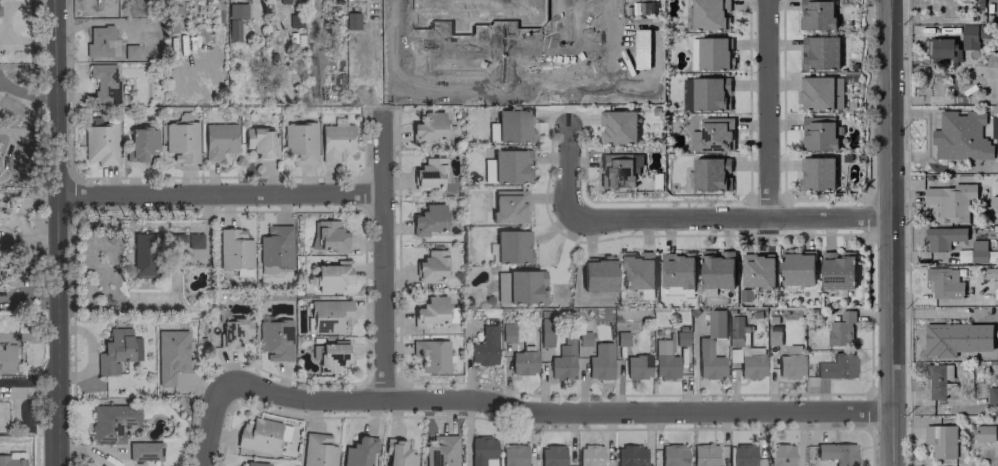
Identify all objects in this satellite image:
building: (285, 0)
building: (478, 4)
building: (431, 12)
building: (709, 14)
building: (816, 14)
building: (234, 19)
building: (351, 20)
building: (969, 36)
building: (100, 42)
building: (579, 42)
building: (942, 48)
building: (819, 52)
building: (517, 53)
building: (710, 53)
building: (103, 82)
building: (705, 93)
building: (820, 93)
road: (954, 100)
road: (767, 109)
building: (509, 126)
building: (617, 126)
building: (427, 128)
building: (818, 133)
building: (712, 135)
building: (960, 136)
building: (218, 140)
building: (180, 141)
building: (299, 141)
building: (334, 141)
building: (259, 142)
building: (99, 143)
building: (139, 143)
building: (510, 166)
road: (565, 169)
building: (618, 169)
building: (486, 170)
building: (428, 173)
building: (816, 173)
building: (711, 174)
road: (220, 196)
building: (951, 200)
building: (508, 206)
building: (427, 219)
road: (729, 219)
road: (56, 232)
road: (892, 233)
building: (329, 236)
building: (942, 237)
building: (187, 240)
building: (274, 246)
building: (511, 247)
building: (232, 249)
building: (978, 250)
building: (144, 254)
road: (384, 255)
building: (963, 255)
building: (429, 266)
building: (717, 268)
building: (797, 268)
building: (637, 269)
building: (677, 269)
building: (837, 269)
building: (757, 270)
building: (597, 273)
building: (330, 275)
building: (944, 282)
building: (519, 286)
building: (996, 293)
building: (432, 311)
building: (328, 315)
building: (716, 323)
building: (841, 328)
building: (736, 329)
building: (973, 330)
building: (232, 331)
building: (544, 332)
building: (952, 337)
building: (583, 338)
building: (621, 338)
building: (680, 338)
building: (274, 339)
building: (484, 347)
building: (116, 350)
building: (430, 354)
building: (169, 355)
building: (328, 356)
building: (6, 357)
building: (562, 359)
building: (664, 359)
building: (707, 360)
building: (522, 362)
building: (599, 362)
building: (790, 362)
building: (636, 366)
building: (836, 366)
building: (937, 379)
building: (992, 395)
road: (558, 411)
building: (110, 421)
road: (210, 425)
building: (983, 433)
building: (257, 435)
building: (940, 440)
building: (143, 450)
building: (316, 450)
building: (357, 451)
building: (441, 451)
building: (481, 451)
building: (396, 453)
building: (836, 453)
building: (703, 454)
building: (780, 454)
building: (512, 455)
building: (550, 455)
building: (589, 455)
building: (629, 455)
building: (672, 455)
building: (742, 455)
building: (11, 459)
building: (253, 463)

